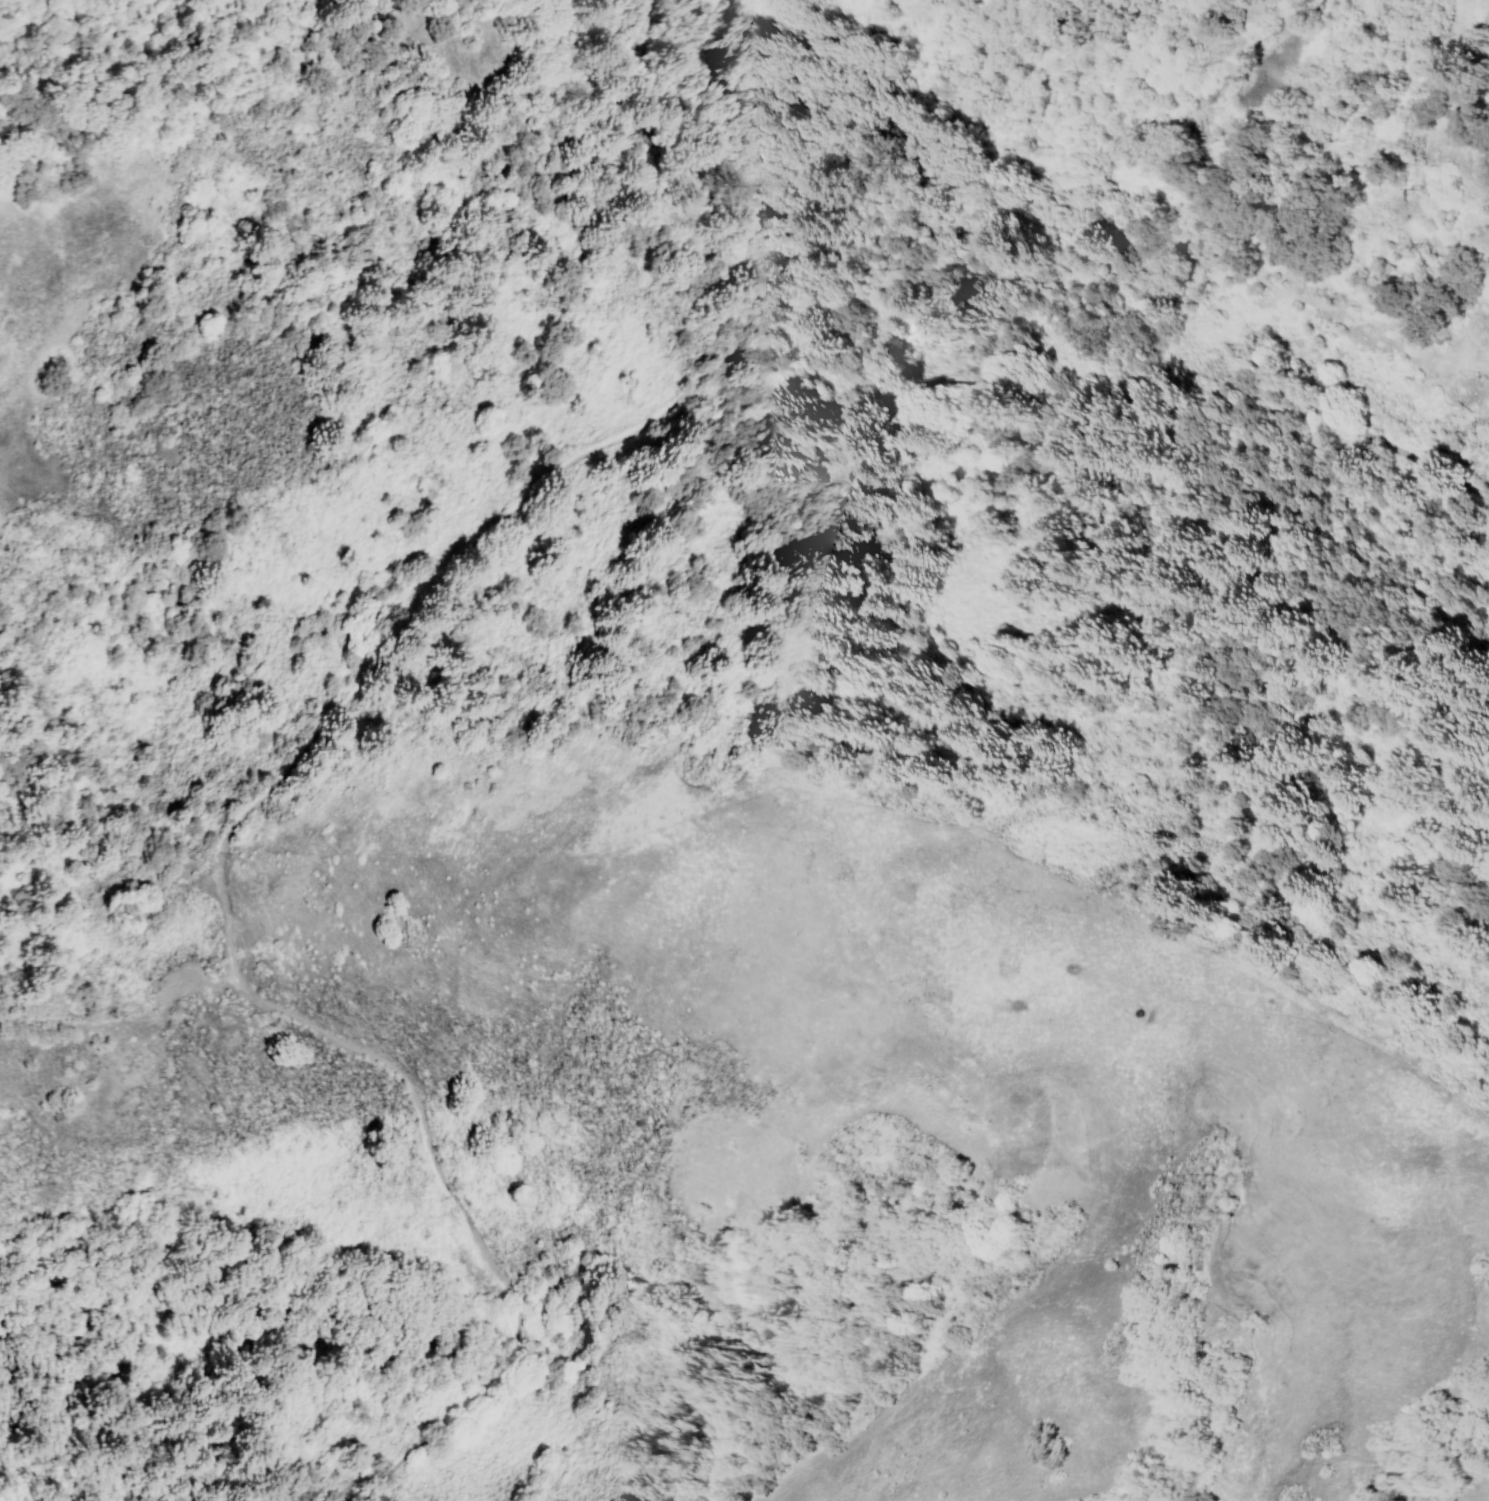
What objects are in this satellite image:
road: (437, 643)

